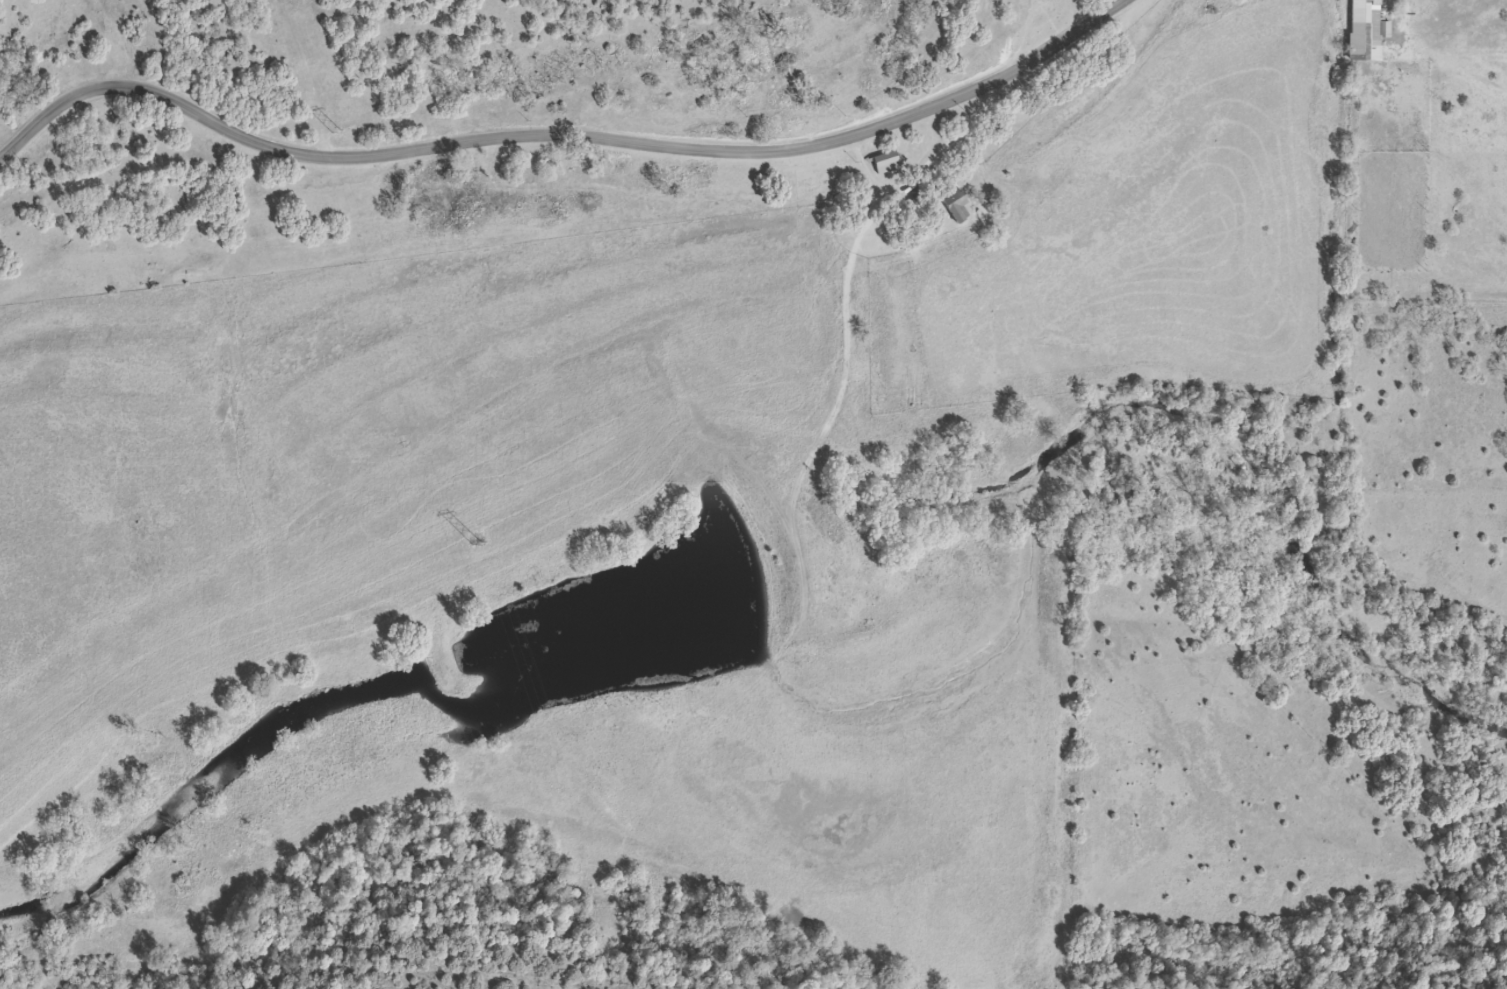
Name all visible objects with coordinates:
building: (1356, 18)
building: (1380, 29)
power tower: (329, 132)
road: (563, 139)
building: (884, 162)
building: (955, 205)
power tower: (469, 544)

